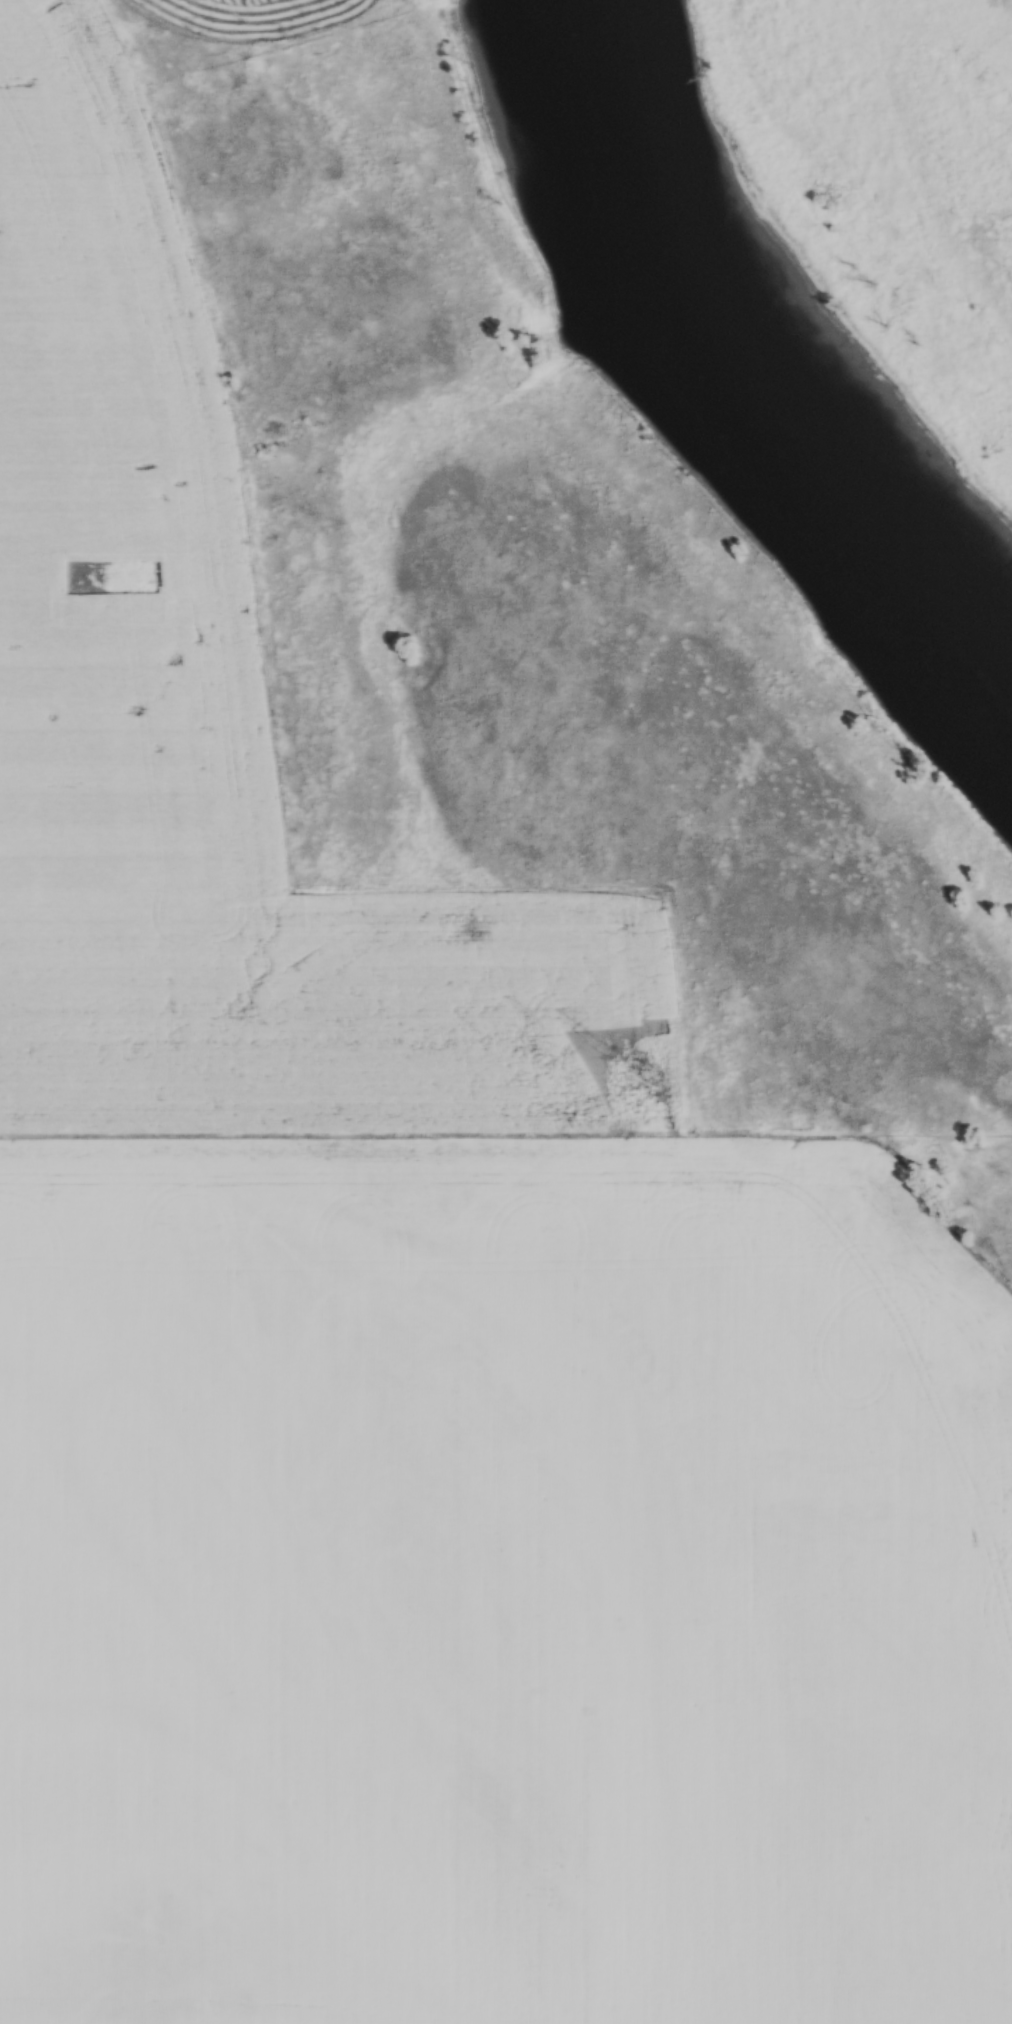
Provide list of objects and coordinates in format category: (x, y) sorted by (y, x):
river: (818, 305)

